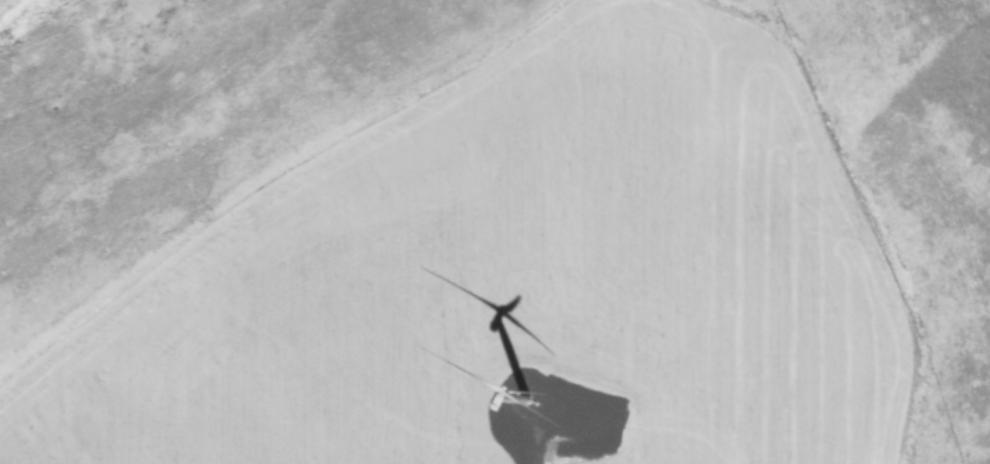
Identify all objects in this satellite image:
wind turbine: (520, 403)
road: (527, 436)

